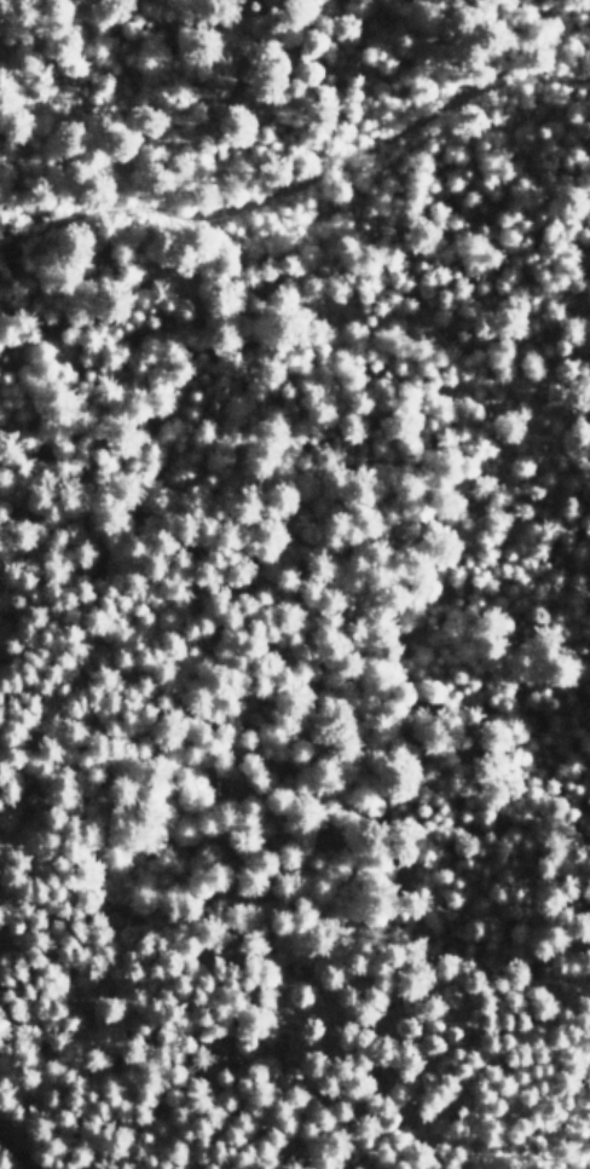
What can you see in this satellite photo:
road: (299, 172)
road: (16, 1151)

